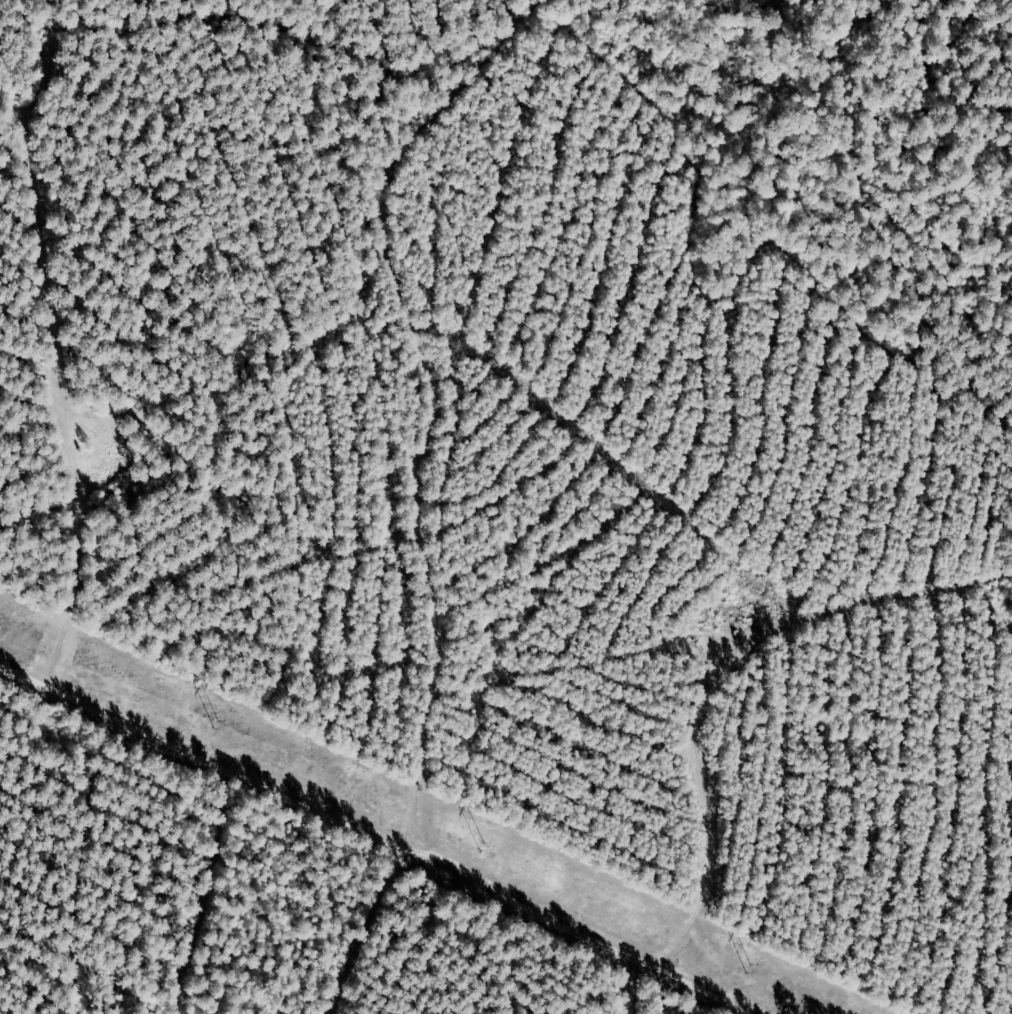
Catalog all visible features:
power tower: (215, 723)
road: (416, 806)
power tower: (481, 846)
power tower: (749, 967)
road: (612, 971)

